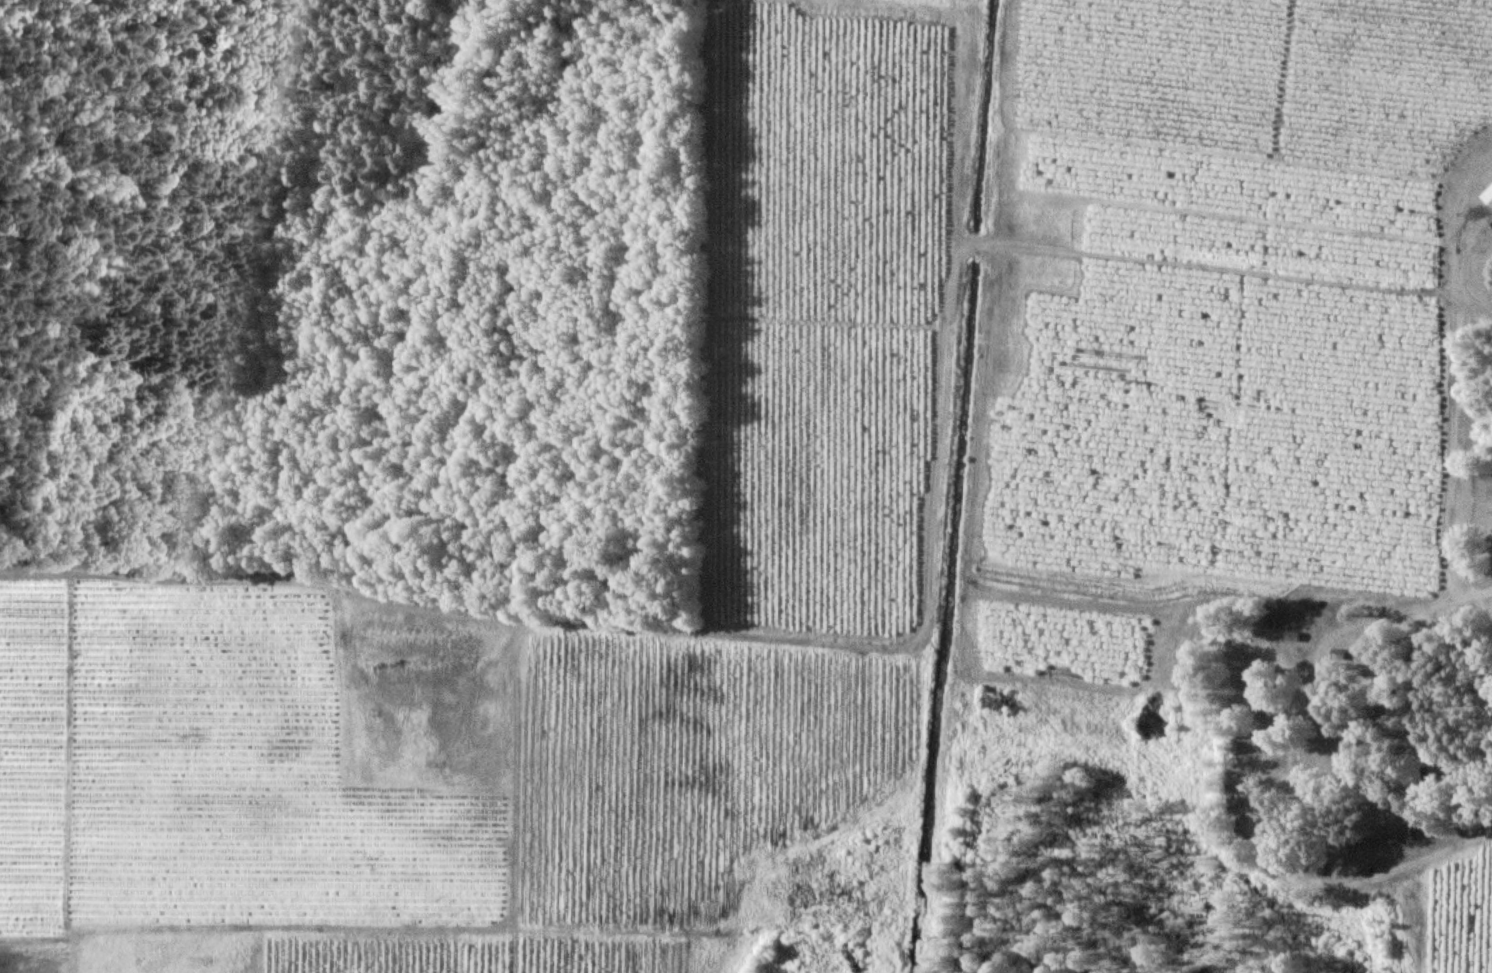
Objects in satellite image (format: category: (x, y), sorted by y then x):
building: (1487, 196)
road: (1380, 611)

